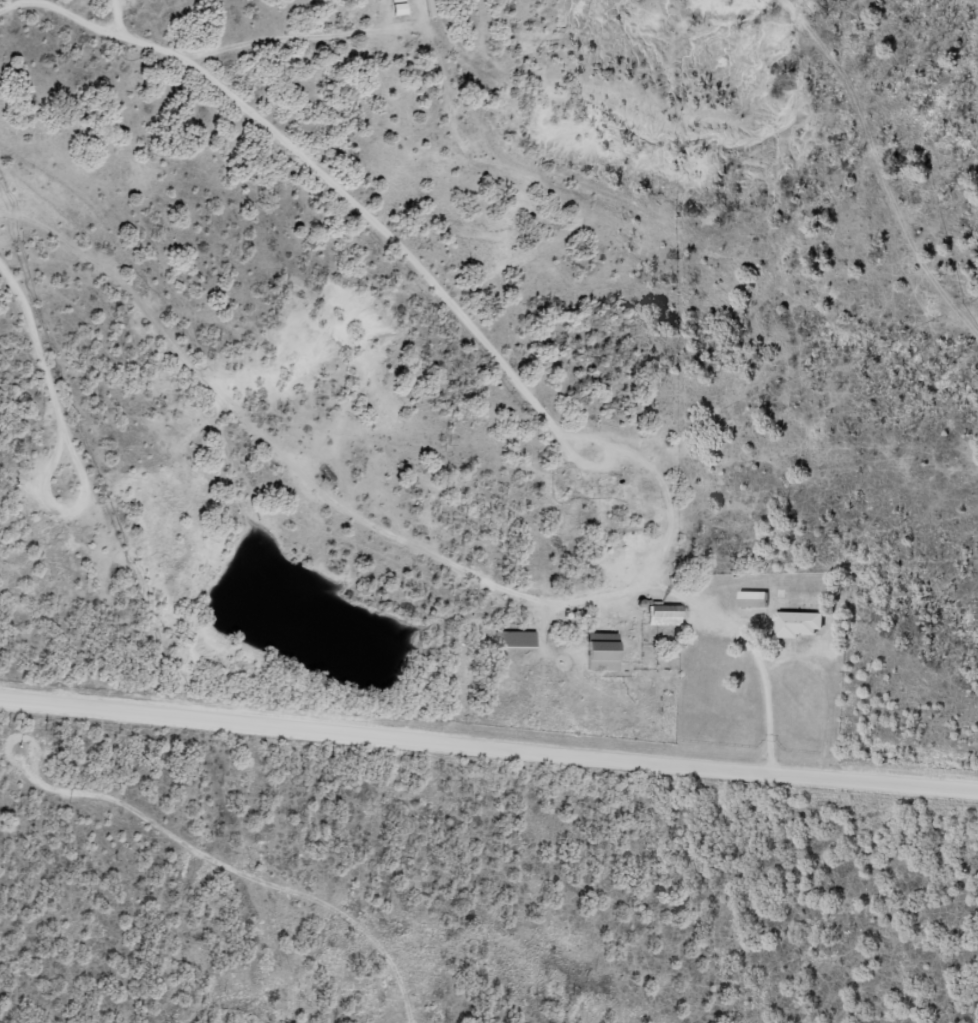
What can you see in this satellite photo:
building: (397, 7)
building: (752, 599)
building: (661, 615)
building: (799, 624)
building: (516, 640)
building: (598, 652)
road: (401, 737)
road: (890, 785)

